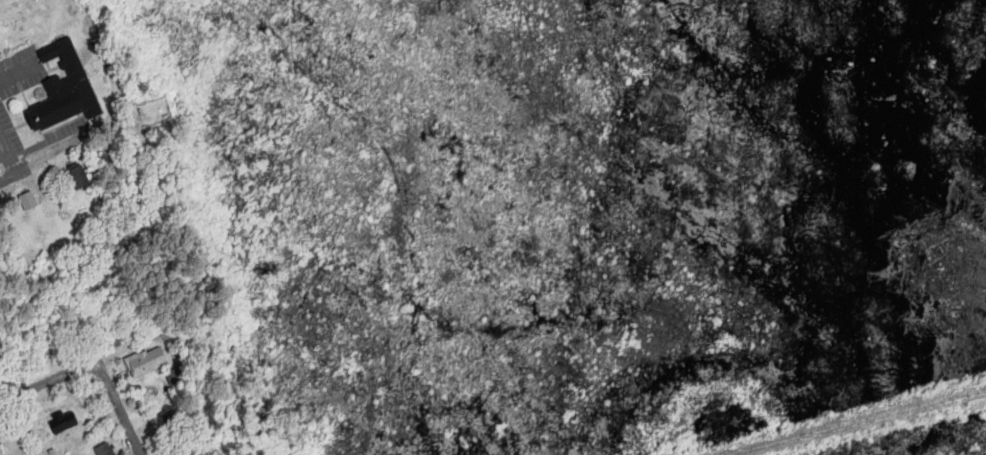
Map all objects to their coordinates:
building: (62, 88)
road: (15, 175)
building: (80, 179)
building: (29, 201)
building: (148, 363)
road: (72, 371)
railway: (855, 421)
building: (65, 423)
road: (134, 433)
building: (106, 450)
building: (1, 451)

